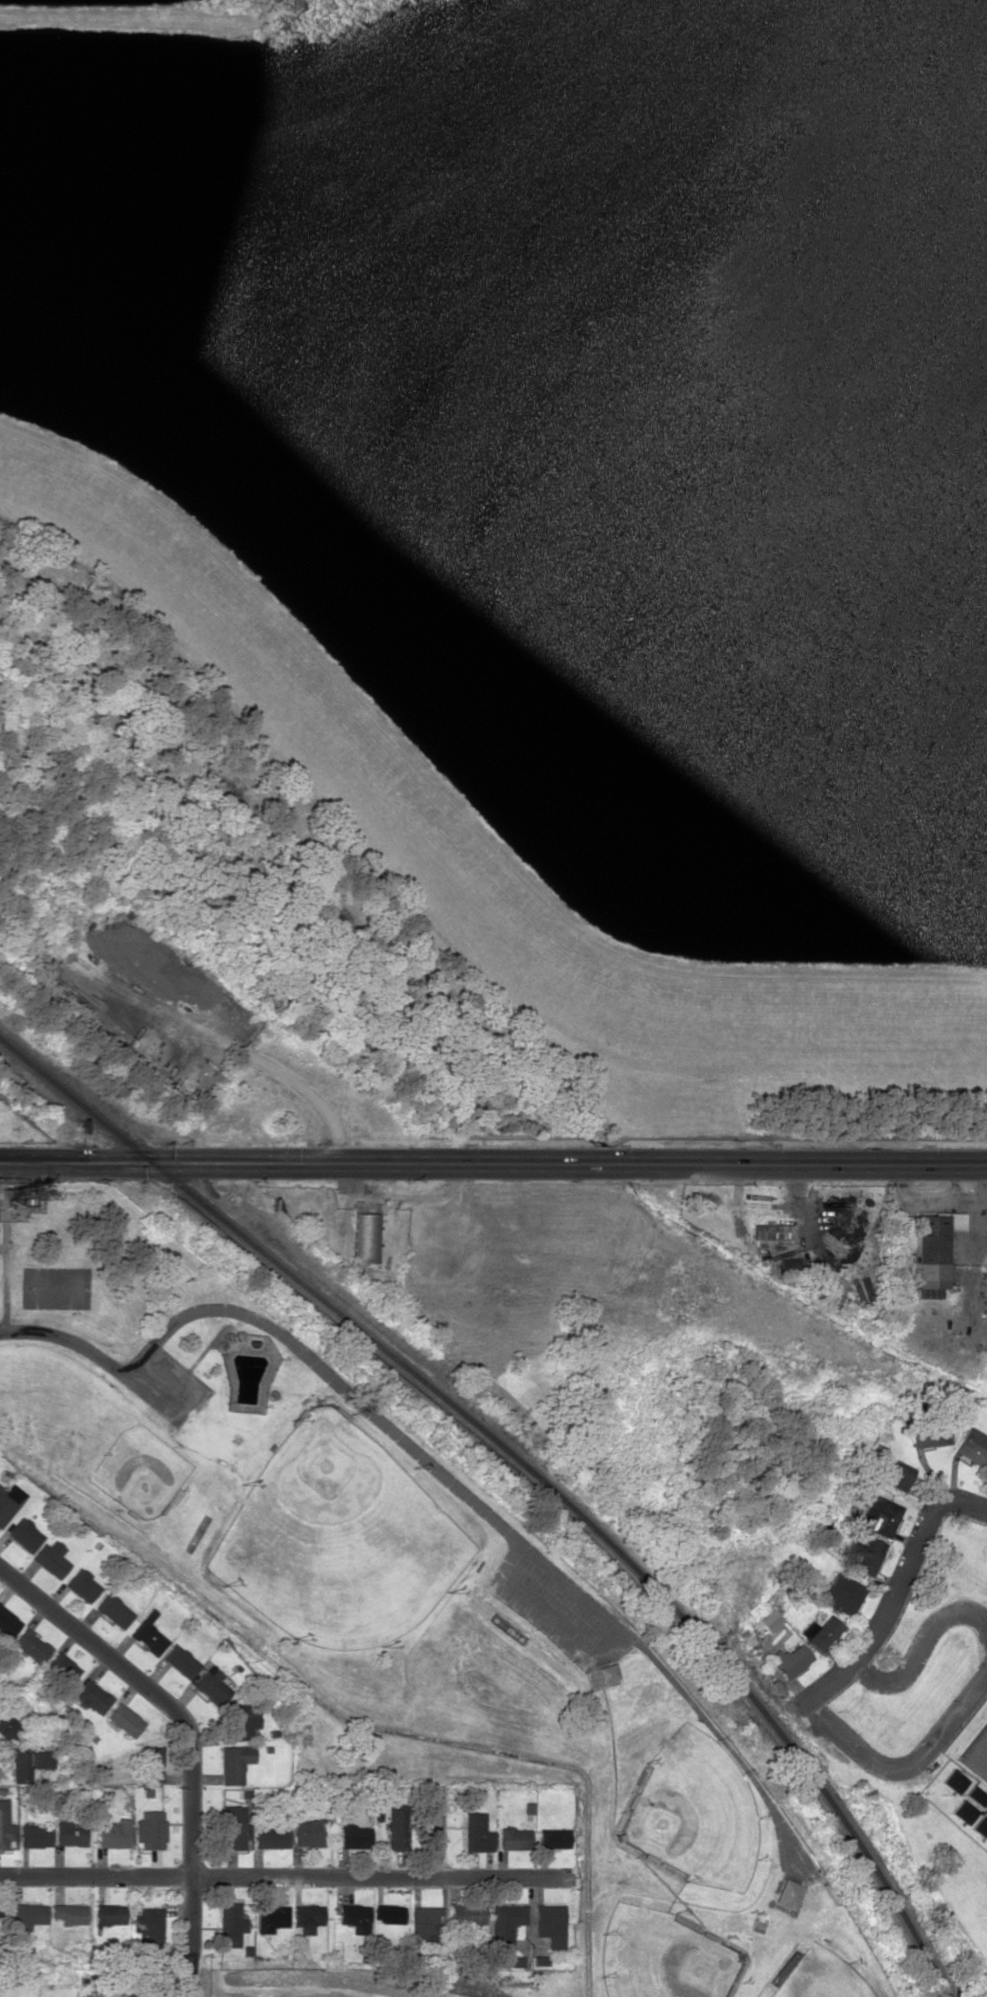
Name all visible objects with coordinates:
road: (493, 1164)
building: (771, 1231)
building: (366, 1238)
road: (4, 1245)
building: (932, 1252)
building: (927, 1437)
building: (972, 1447)
park: (139, 1471)
railway: (525, 1471)
building: (896, 1474)
road: (447, 1478)
building: (986, 1478)
building: (9, 1501)
building: (878, 1514)
building: (24, 1534)
park: (339, 1538)
building: (865, 1555)
building: (52, 1558)
road: (909, 1561)
building: (82, 1585)
building: (841, 1594)
building: (113, 1610)
building: (767, 1620)
building: (8, 1622)
building: (820, 1632)
building: (148, 1634)
building: (31, 1645)
road: (918, 1649)
building: (791, 1659)
building: (180, 1660)
building: (63, 1666)
building: (212, 1685)
building: (94, 1697)
building: (125, 1719)
building: (242, 1721)
building: (8, 1726)
road: (191, 1737)
building: (976, 1754)
building: (4, 1755)
building: (40, 1758)
road: (875, 1762)
building: (151, 1763)
building: (234, 1763)
building: (20, 1766)
building: (952, 1780)
building: (975, 1792)
building: (962, 1811)
park: (697, 1812)
building: (4, 1826)
building: (397, 1826)
road: (584, 1827)
building: (980, 1827)
building: (235, 1828)
building: (150, 1829)
building: (309, 1832)
building: (70, 1833)
building: (114, 1833)
building: (477, 1833)
building: (34, 1836)
building: (354, 1836)
building: (271, 1837)
building: (515, 1838)
building: (554, 1838)
road: (291, 1875)
building: (787, 1893)
road: (443, 1903)
building: (70, 1913)
building: (110, 1913)
building: (468, 1913)
building: (29, 1914)
building: (390, 1914)
building: (307, 1917)
building: (355, 1917)
building: (272, 1918)
building: (0, 1919)
building: (425, 1923)
building: (149, 1924)
building: (230, 1924)
building: (551, 1924)
building: (506, 1925)
park: (664, 1957)
building: (510, 1962)
park: (824, 1977)

